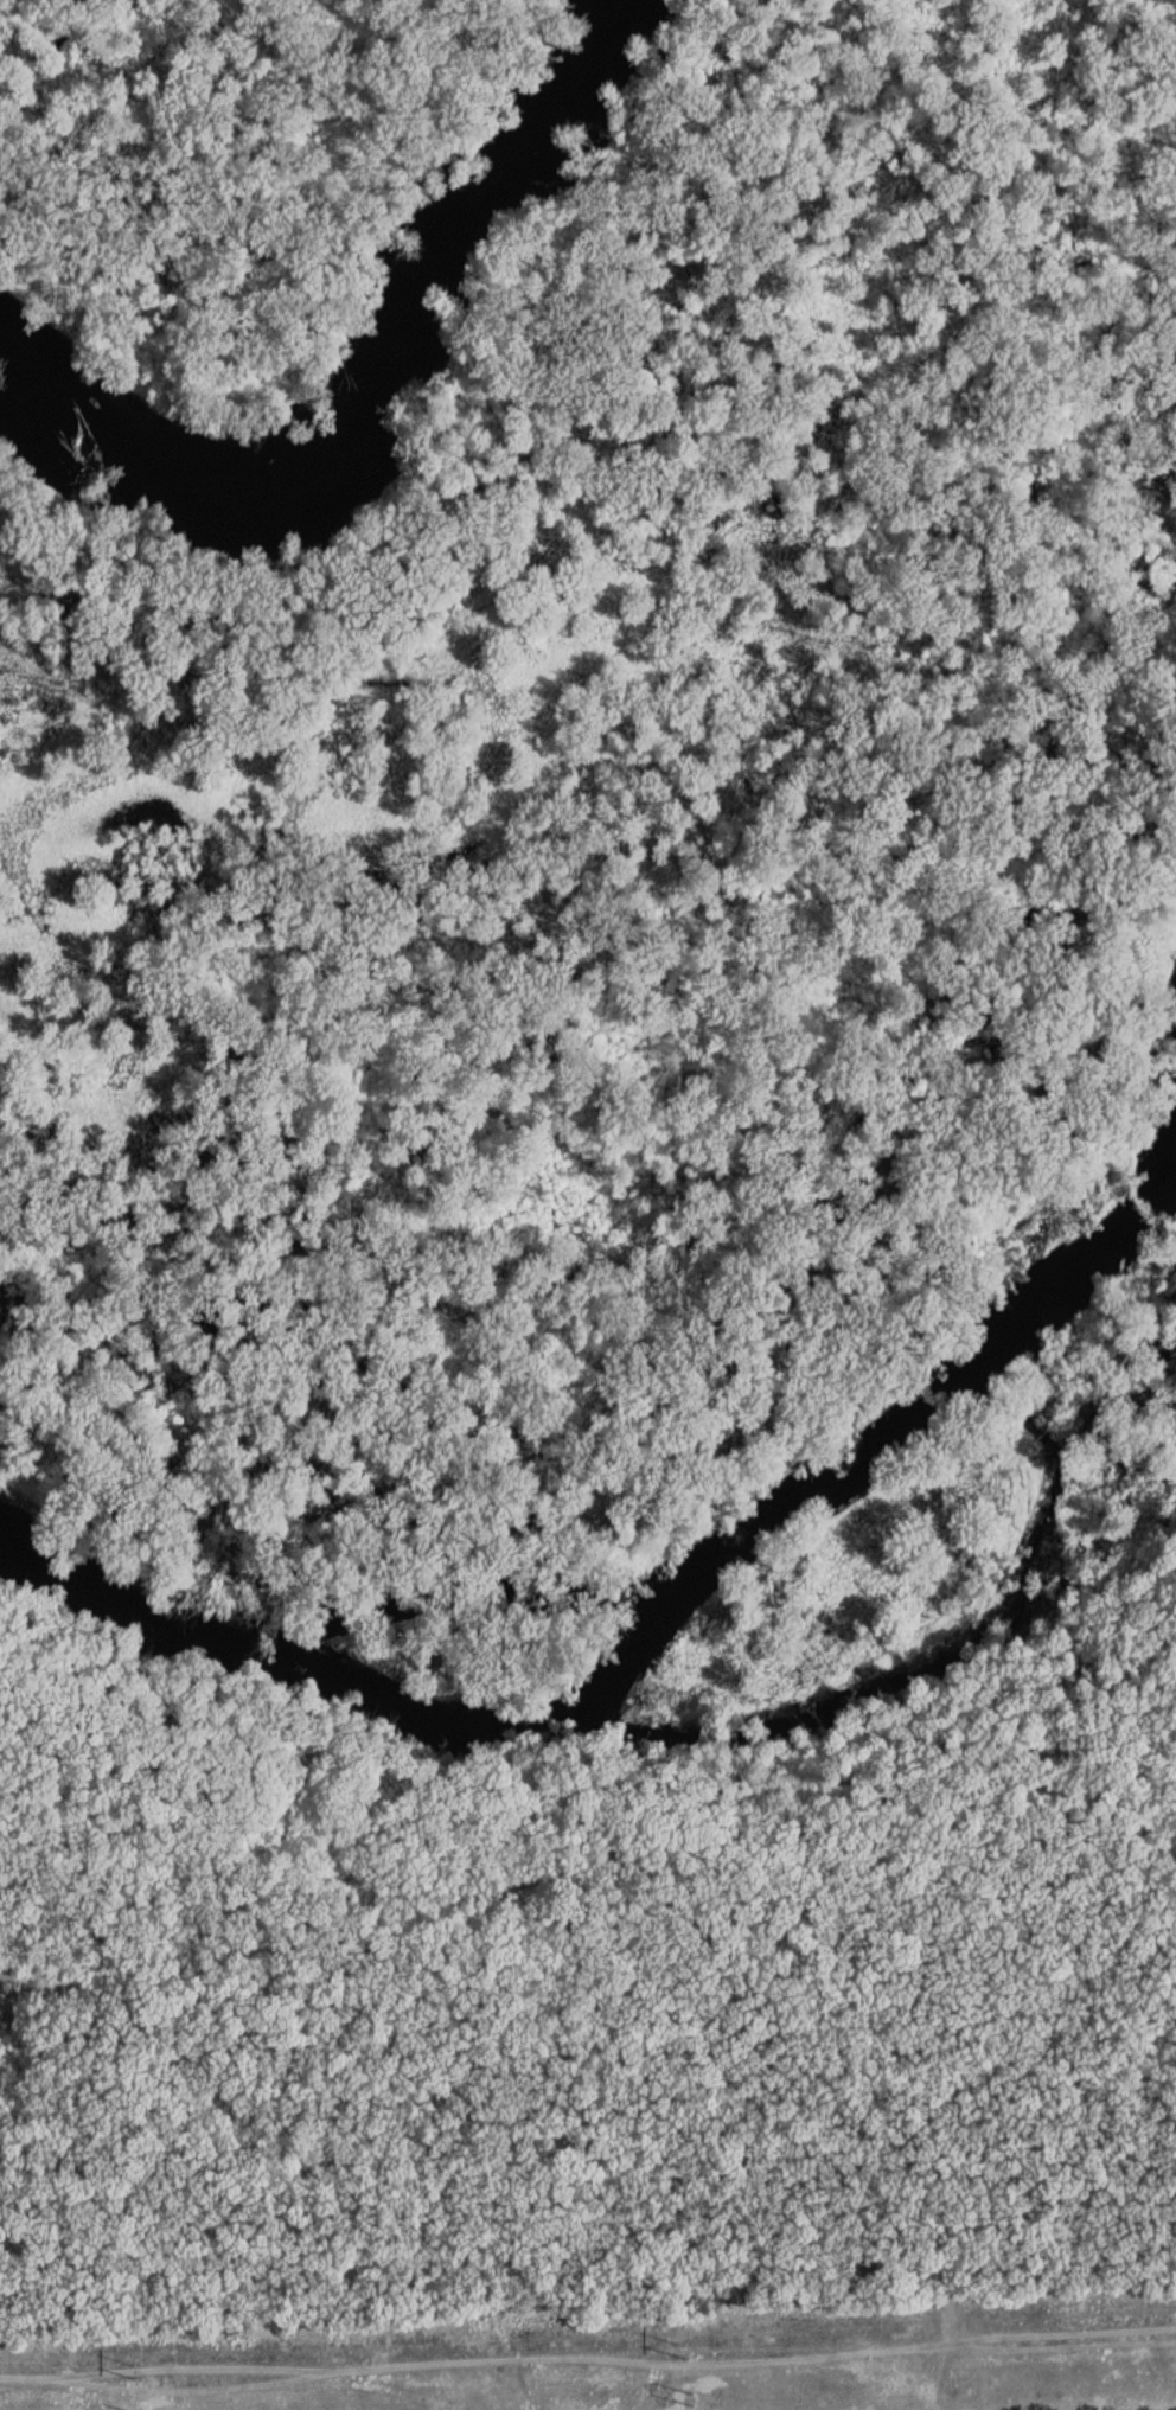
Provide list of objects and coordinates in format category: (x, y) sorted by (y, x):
river: (364, 386)
power tower: (677, 2347)
power tower: (132, 2369)
power tower: (679, 2397)

